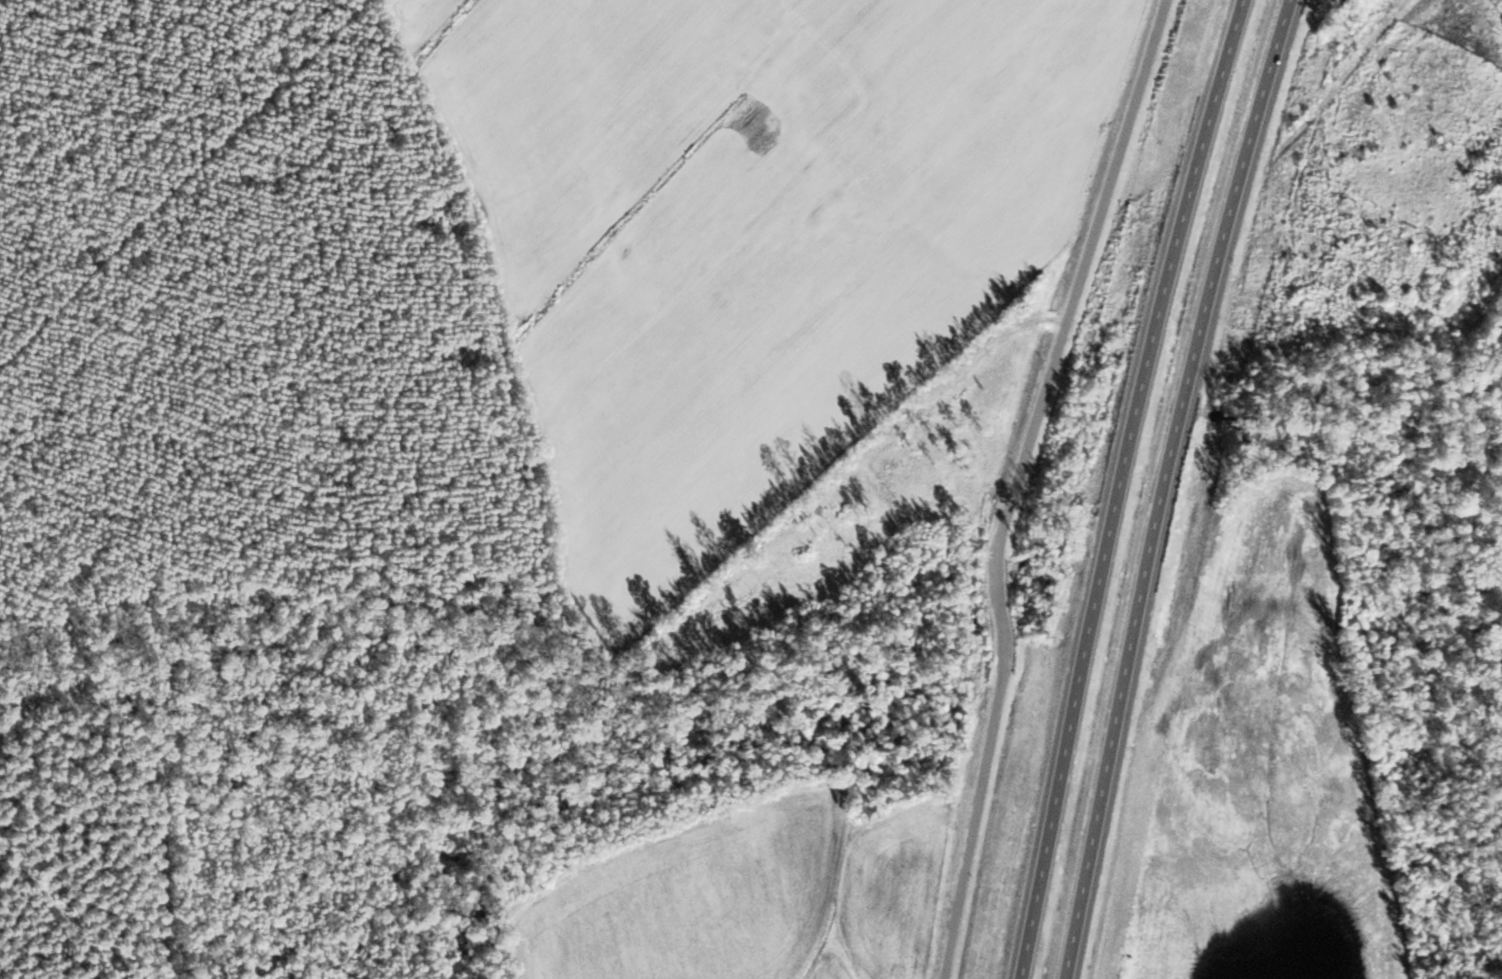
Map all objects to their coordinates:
road: (1400, 8)
building: (1232, 149)
building: (1253, 217)
building: (1297, 232)
road: (1016, 482)
road: (1119, 486)
road: (1163, 486)

